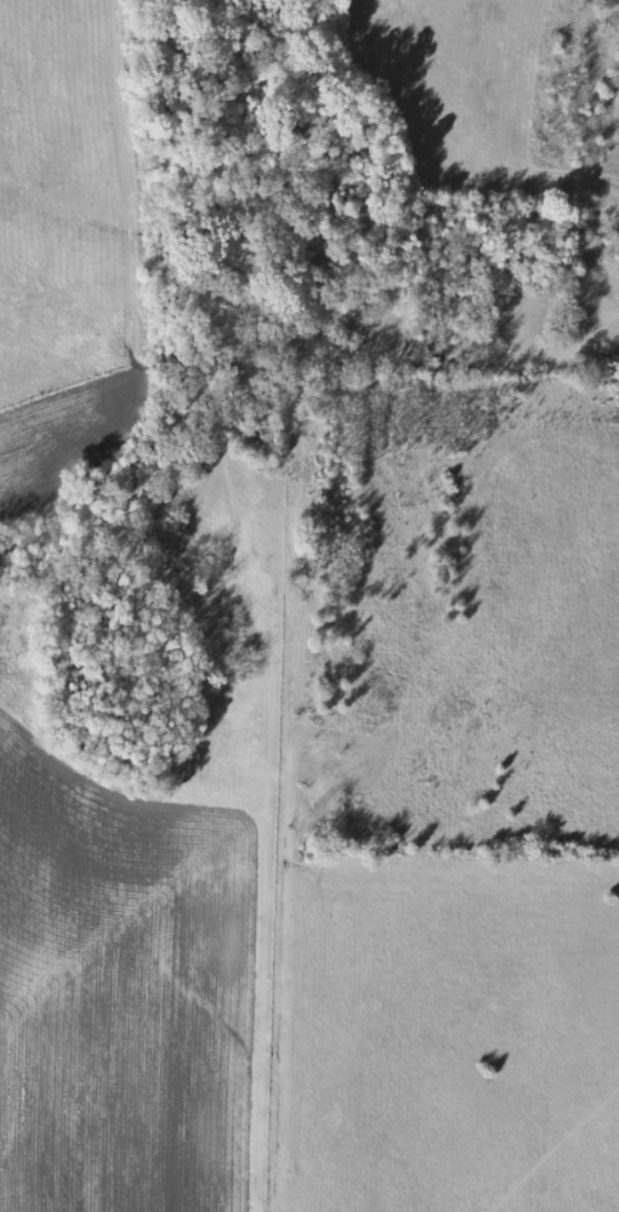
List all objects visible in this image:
road: (278, 831)

